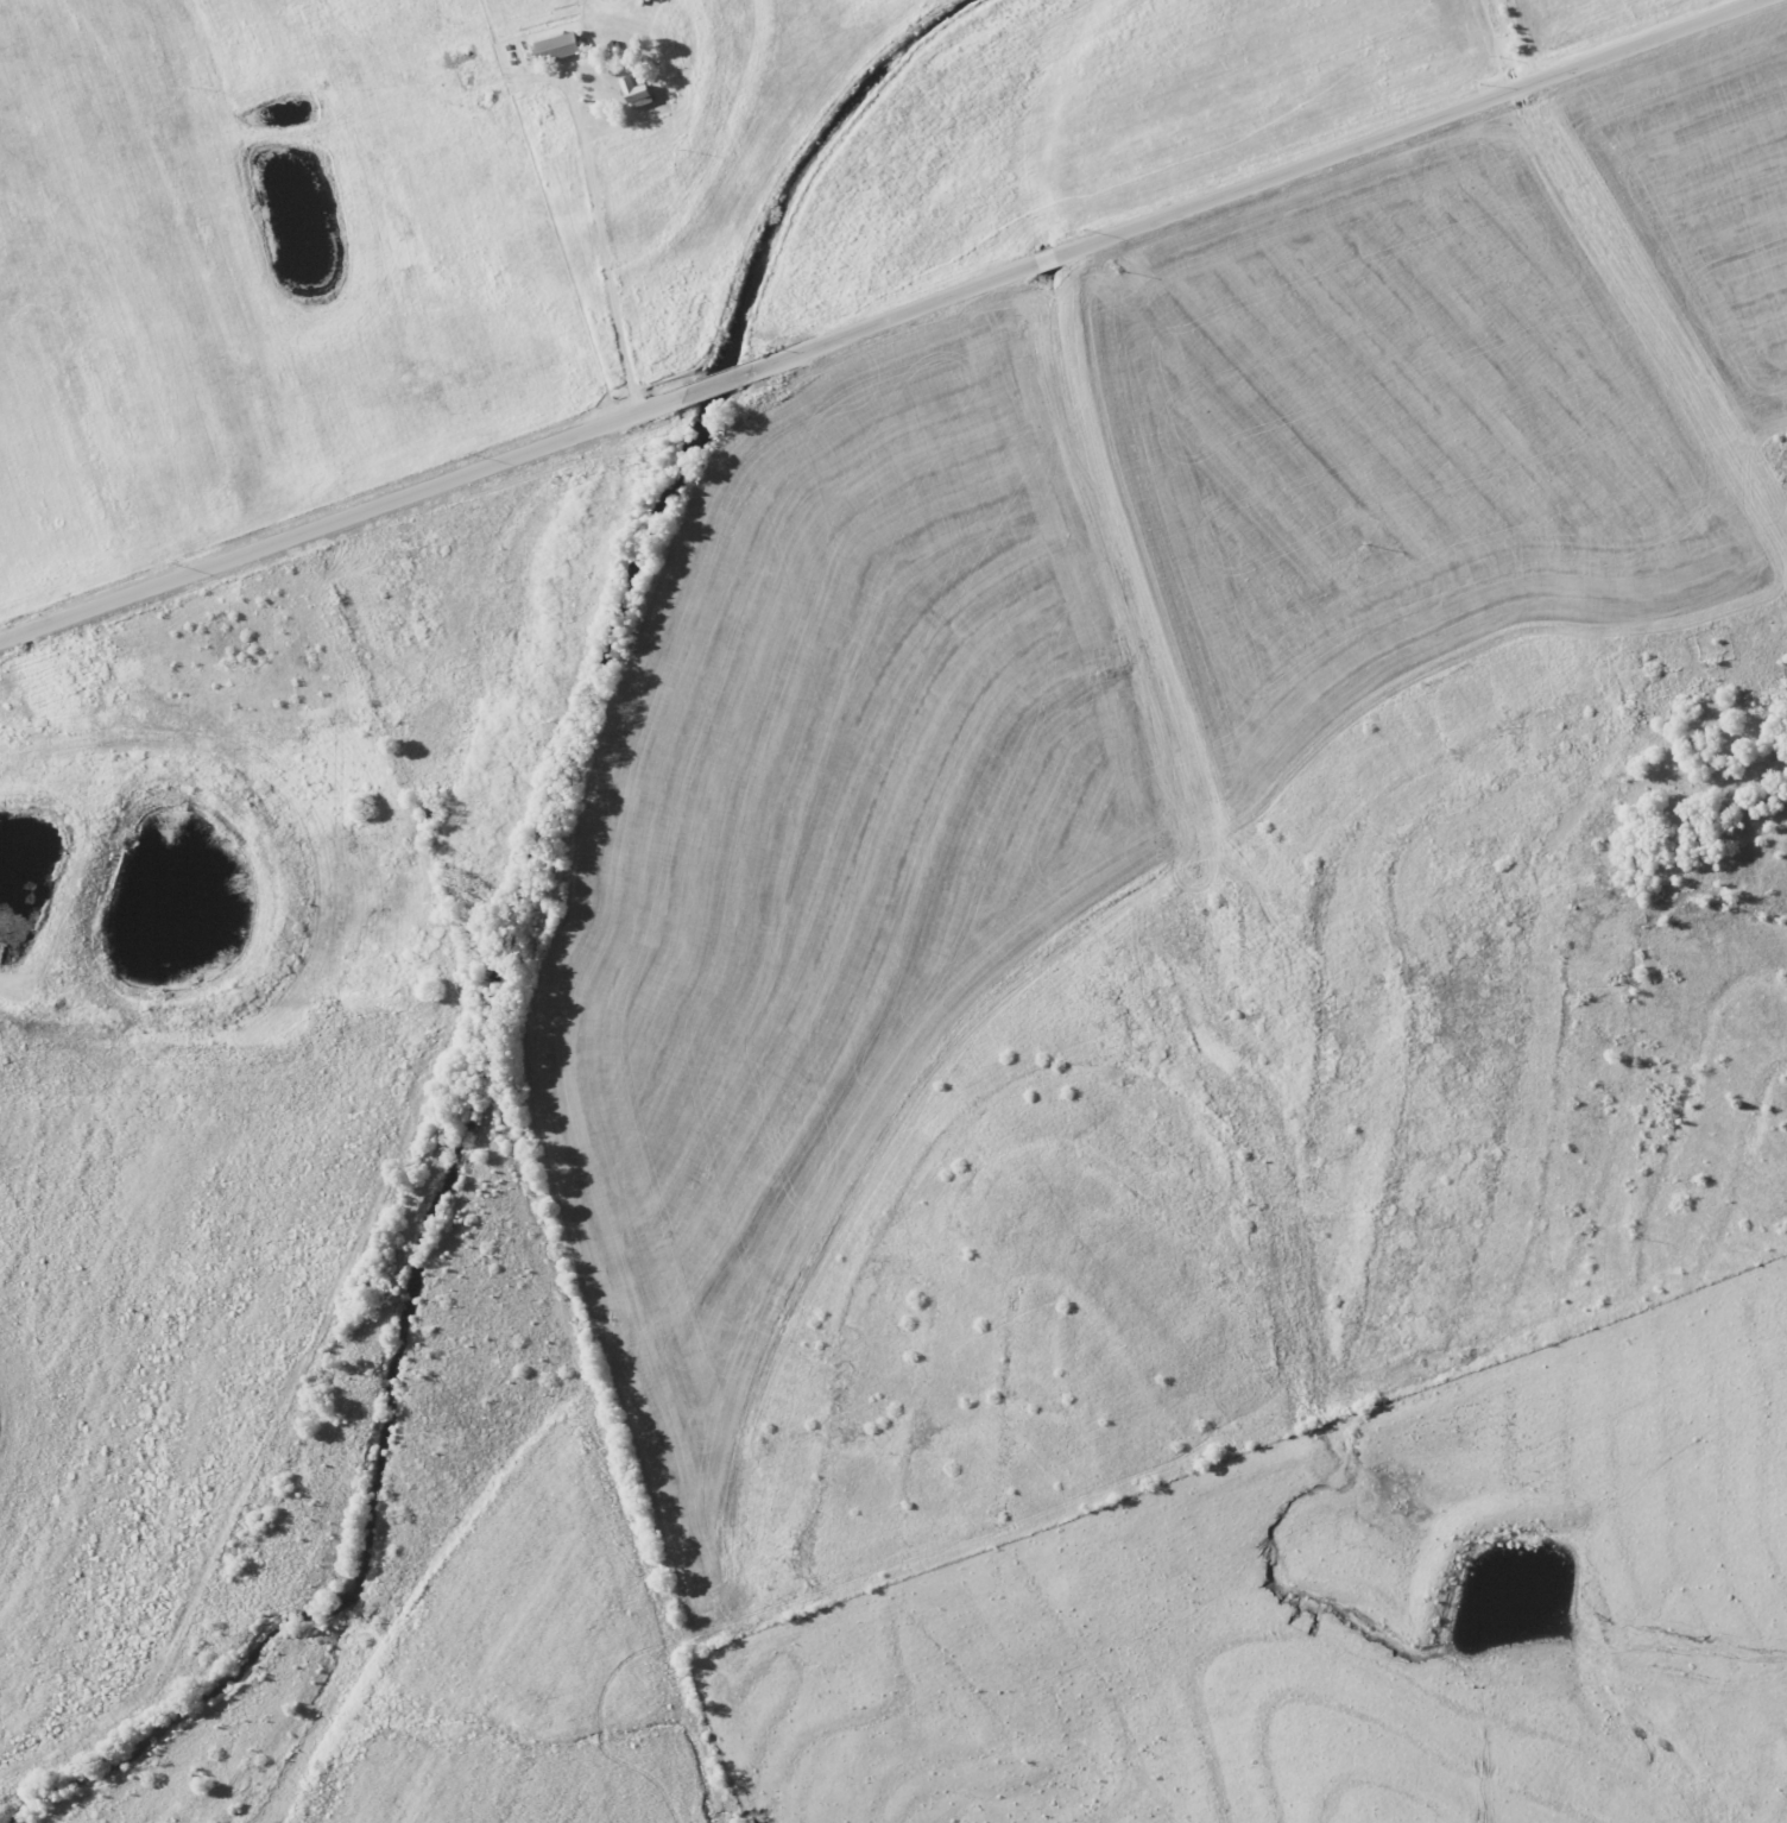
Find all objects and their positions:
building: (562, 48)
building: (642, 92)
road: (602, 250)
road: (880, 321)

